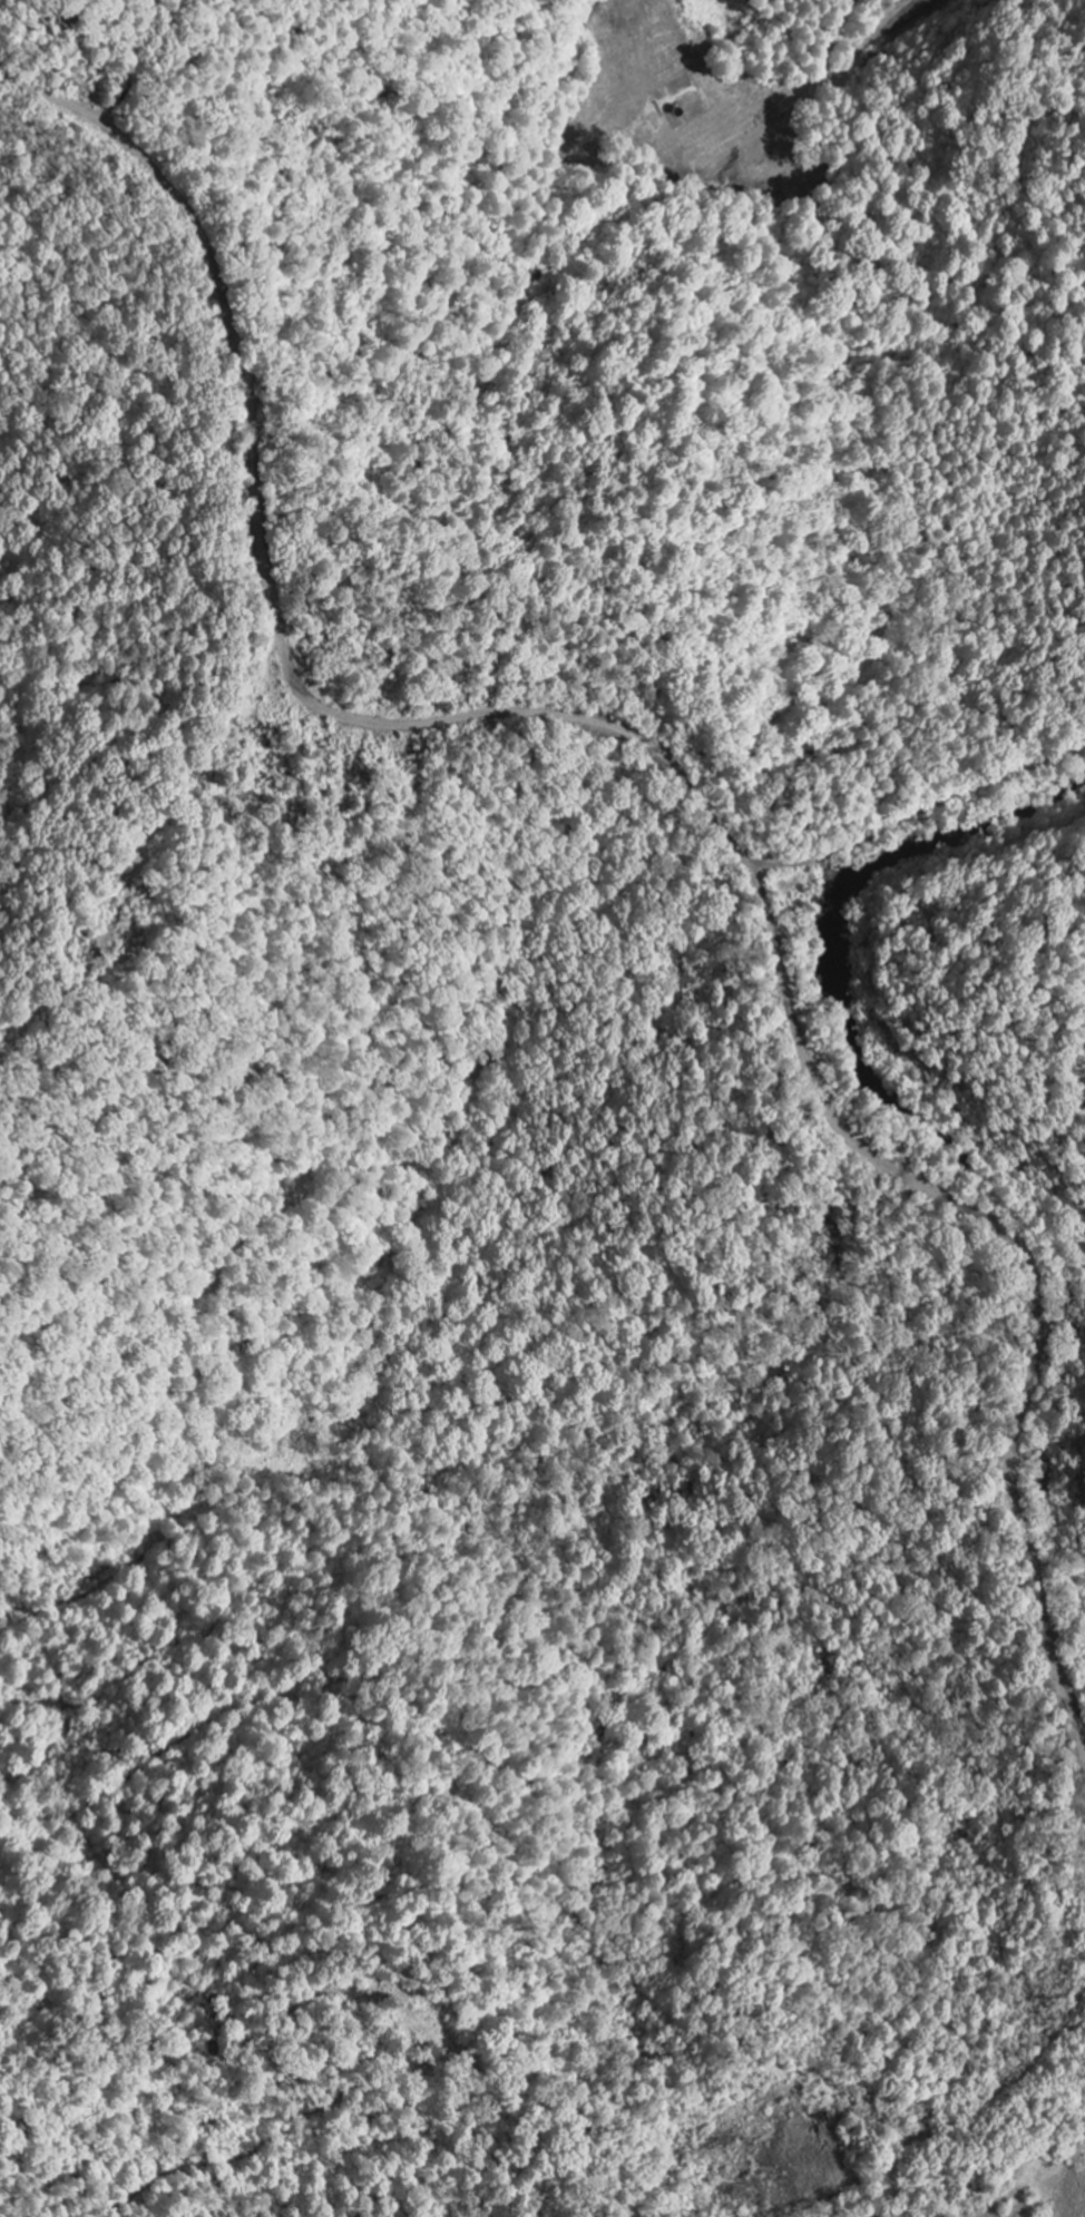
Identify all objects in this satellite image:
road: (141, 159)
road: (369, 518)
road: (954, 1137)

